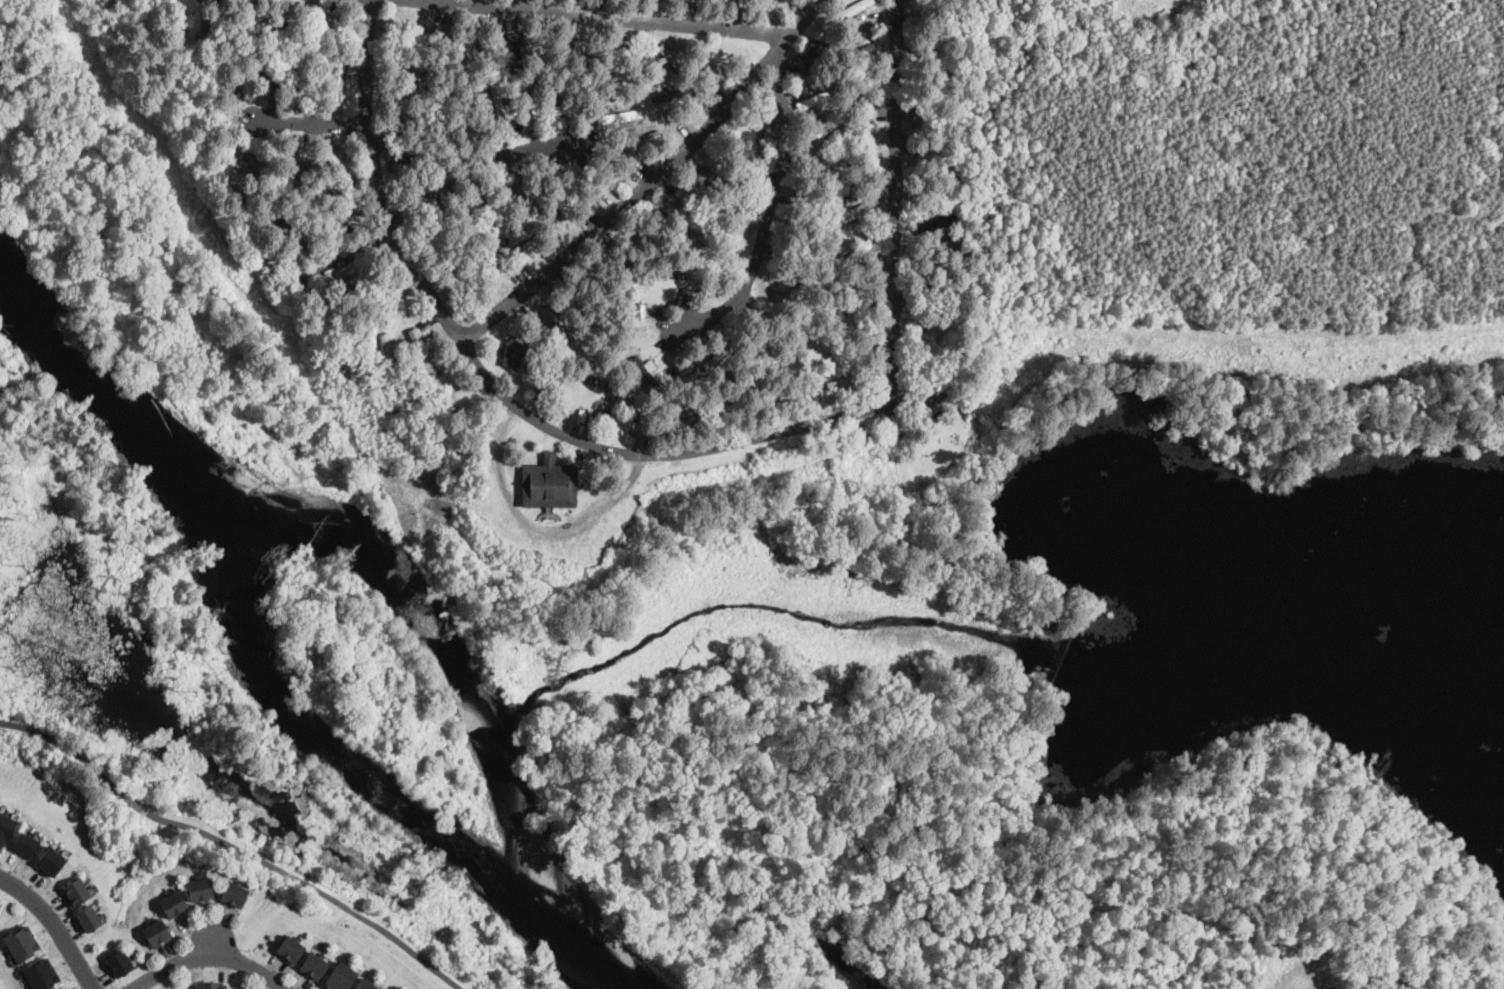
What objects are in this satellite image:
building: (654, 0)
building: (692, 1)
building: (773, 3)
building: (800, 4)
building: (852, 10)
road: (597, 16)
building: (325, 17)
building: (203, 25)
building: (418, 28)
building: (937, 39)
building: (439, 45)
building: (449, 50)
building: (484, 50)
building: (251, 53)
building: (860, 53)
building: (669, 55)
building: (816, 55)
building: (515, 56)
building: (616, 63)
building: (403, 65)
building: (434, 67)
building: (585, 67)
building: (603, 72)
building: (812, 75)
building: (266, 76)
building: (933, 78)
building: (338, 81)
building: (226, 87)
building: (303, 90)
building: (412, 93)
building: (524, 94)
building: (676, 94)
building: (497, 101)
building: (813, 101)
building: (552, 111)
building: (939, 114)
building: (627, 116)
building: (465, 121)
road: (313, 125)
building: (424, 134)
building: (857, 140)
building: (746, 142)
building: (637, 143)
building: (944, 146)
building: (811, 150)
building: (252, 157)
building: (421, 159)
building: (252, 165)
building: (337, 165)
road: (485, 165)
building: (833, 166)
building: (527, 168)
road: (896, 169)
building: (298, 170)
building: (551, 173)
building: (821, 177)
building: (709, 178)
road: (650, 179)
building: (857, 183)
building: (935, 189)
building: (525, 196)
building: (563, 199)
building: (797, 201)
building: (726, 203)
building: (496, 208)
road: (768, 208)
building: (347, 214)
building: (679, 215)
building: (854, 215)
building: (707, 222)
building: (297, 234)
building: (645, 241)
building: (528, 245)
building: (941, 247)
building: (770, 249)
road: (347, 251)
building: (853, 258)
building: (621, 269)
building: (932, 280)
building: (351, 281)
building: (670, 282)
building: (599, 285)
building: (696, 285)
building: (855, 293)
building: (941, 313)
building: (558, 324)
building: (592, 325)
road: (407, 329)
park: (227, 335)
building: (844, 335)
building: (419, 338)
building: (390, 352)
building: (765, 352)
building: (630, 353)
building: (512, 354)
building: (930, 355)
building: (719, 356)
building: (645, 374)
building: (931, 380)
building: (846, 382)
building: (789, 394)
road: (515, 403)
building: (930, 414)
building: (617, 421)
building: (681, 423)
building: (549, 484)
river: (380, 570)
park: (186, 725)
road: (66, 746)
road: (133, 801)
building: (6, 828)
building: (26, 845)
building: (51, 862)
road: (311, 885)
building: (206, 891)
building: (76, 893)
building: (196, 893)
building: (229, 893)
building: (239, 898)
building: (0, 903)
building: (178, 904)
building: (169, 910)
building: (89, 919)
road: (55, 926)
building: (163, 932)
building: (152, 938)
road: (211, 942)
building: (21, 944)
building: (284, 945)
building: (294, 952)
building: (118, 962)
building: (308, 962)
building: (318, 969)
building: (41, 975)
building: (335, 975)
building: (346, 979)
building: (363, 984)
building: (203, 986)
building: (217, 986)
building: (373, 987)
building: (69, 988)

